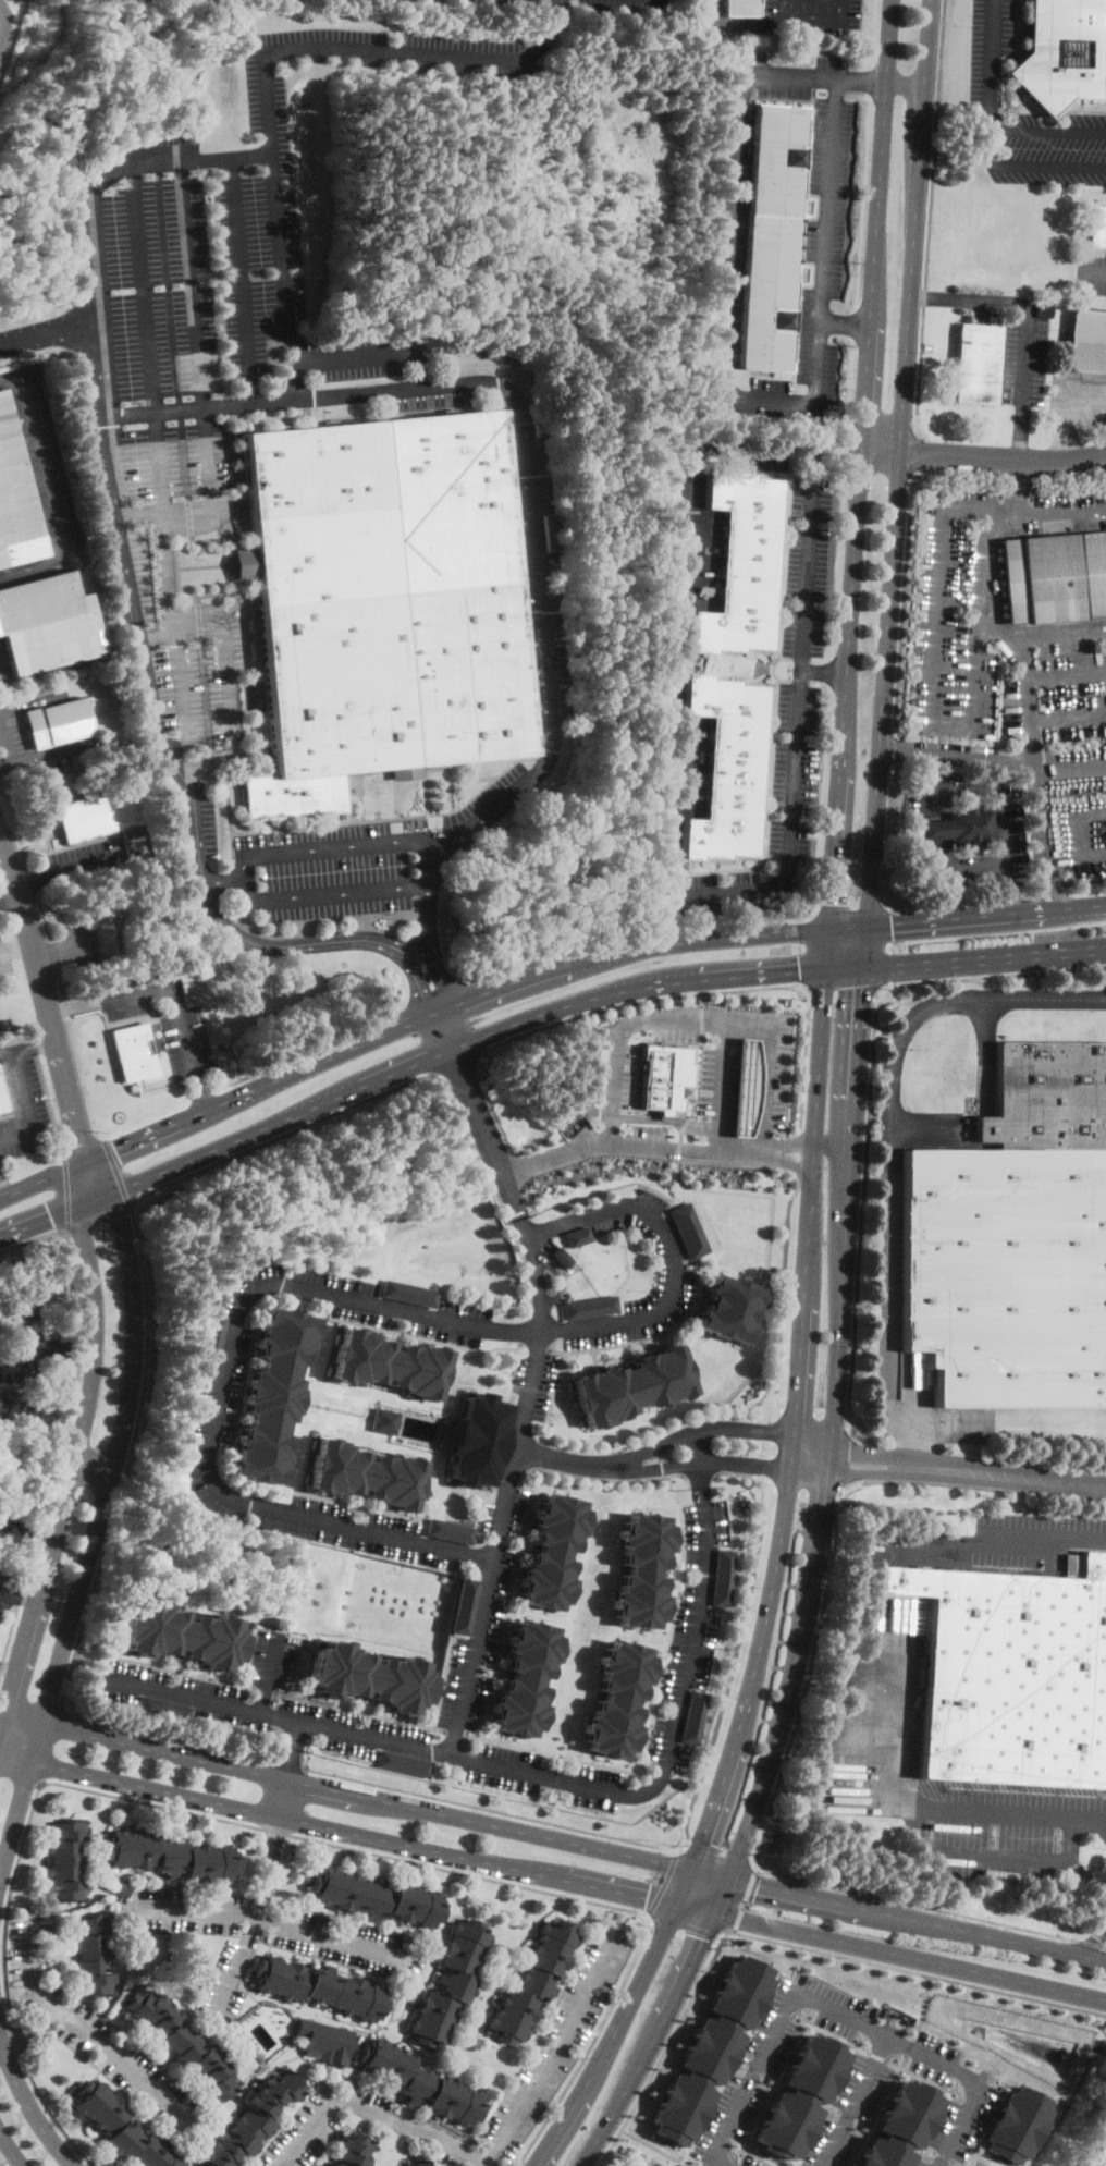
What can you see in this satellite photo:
parking lot: (516, 1)
parking lot: (634, 5)
building: (740, 9)
parking lot: (811, 16)
road: (813, 19)
road: (874, 33)
road: (1017, 35)
parking lot: (409, 49)
parking lot: (987, 50)
building: (1062, 52)
road: (454, 57)
road: (987, 62)
road: (789, 74)
parking lot: (787, 75)
road: (860, 81)
road: (870, 82)
road: (905, 84)
road: (1046, 126)
parking lot: (1045, 147)
road: (1028, 166)
road: (861, 203)
road: (927, 220)
building: (1097, 228)
road: (735, 234)
building: (771, 236)
road: (278, 252)
road: (1091, 269)
parking lot: (1091, 270)
parking lot: (816, 273)
road: (239, 277)
road: (824, 286)
road: (938, 296)
parking lot: (205, 308)
road: (846, 323)
road: (853, 326)
road: (1028, 326)
road: (49, 332)
road: (869, 335)
building: (1086, 341)
road: (194, 355)
parking lot: (1022, 359)
building: (978, 364)
road: (295, 371)
road: (356, 391)
road: (849, 392)
road: (1070, 400)
parking lot: (1074, 405)
road: (198, 407)
road: (1020, 433)
road: (1064, 446)
road: (837, 453)
road: (912, 453)
parking lot: (764, 454)
road: (880, 454)
road: (112, 455)
road: (844, 456)
road: (1003, 462)
road: (898, 463)
parking lot: (45, 464)
road: (49, 486)
road: (1017, 487)
building: (15, 499)
road: (810, 501)
parking lot: (1050, 510)
road: (1061, 513)
building: (741, 564)
road: (838, 565)
parking lot: (806, 567)
building: (1054, 577)
parking lot: (540, 580)
road: (541, 597)
road: (901, 597)
building: (383, 603)
parking lot: (956, 614)
building: (47, 624)
road: (155, 634)
road: (220, 634)
road: (1040, 634)
parking lot: (187, 649)
road: (1022, 654)
parking lot: (1, 669)
road: (823, 671)
road: (829, 674)
parking lot: (1054, 678)
road: (180, 687)
road: (678, 694)
road: (1025, 695)
road: (1, 700)
road: (28, 702)
road: (929, 703)
building: (57, 723)
road: (4, 741)
road: (890, 747)
road: (44, 751)
road: (955, 751)
building: (728, 768)
road: (999, 771)
road: (1069, 771)
road: (998, 792)
road: (1034, 793)
road: (837, 800)
road: (192, 803)
parking lot: (488, 804)
parking lot: (1078, 808)
building: (96, 813)
parking lot: (770, 818)
parking lot: (205, 822)
parking lot: (1008, 827)
building: (959, 828)
road: (931, 831)
road: (1077, 831)
road: (791, 835)
road: (885, 839)
road: (324, 843)
parking lot: (934, 856)
parking lot: (86, 859)
road: (65, 867)
parking lot: (325, 867)
road: (976, 867)
road: (819, 871)
road: (1037, 889)
road: (1054, 889)
road: (1010, 890)
road: (331, 891)
road: (10, 895)
traffic signals: (831, 902)
road: (850, 906)
road: (41, 914)
road: (984, 916)
building: (452, 919)
traffic signals: (890, 925)
road: (847, 928)
road: (664, 930)
building: (106, 931)
parking lot: (81, 943)
road: (884, 943)
road: (16, 944)
road: (862, 946)
road: (62, 947)
road: (410, 947)
road: (561, 947)
road: (52, 951)
road: (803, 952)
road: (826, 957)
road: (983, 958)
parking lot: (4, 959)
road: (437, 966)
traffic signals: (797, 972)
road: (60, 981)
road: (855, 983)
road: (815, 987)
traffic signals: (858, 988)
road: (175, 995)
road: (419, 995)
road: (438, 995)
road: (46, 996)
road: (711, 999)
road: (632, 1001)
road: (75, 1006)
road: (679, 1018)
parking lot: (169, 1019)
road: (701, 1024)
road: (404, 1026)
parking lot: (676, 1033)
road: (35, 1048)
road: (316, 1049)
building: (134, 1052)
road: (419, 1063)
road: (458, 1064)
road: (803, 1064)
road: (766, 1065)
parking lot: (781, 1070)
parking lot: (620, 1076)
building: (665, 1076)
parking lot: (711, 1082)
road: (818, 1084)
building: (746, 1086)
road: (849, 1088)
building: (1046, 1096)
road: (199, 1097)
building: (1, 1103)
road: (868, 1104)
road: (24, 1106)
parking lot: (23, 1111)
road: (478, 1112)
road: (607, 1115)
road: (685, 1124)
parking lot: (648, 1136)
road: (680, 1137)
road: (632, 1141)
traffic signals: (84, 1142)
road: (790, 1143)
road: (829, 1145)
road: (889, 1145)
road: (83, 1146)
traffic signals: (115, 1149)
road: (678, 1150)
road: (782, 1151)
road: (748, 1163)
road: (791, 1164)
road: (114, 1170)
road: (171, 1179)
building: (791, 1180)
road: (3, 1190)
road: (65, 1190)
road: (131, 1202)
road: (98, 1214)
traffic signals: (51, 1215)
traffic signals: (120, 1217)
building: (689, 1229)
road: (66, 1232)
building: (576, 1236)
building: (557, 1257)
road: (672, 1258)
parking lot: (674, 1268)
building: (1007, 1275)
building: (407, 1293)
building: (28, 1304)
road: (779, 1306)
building: (588, 1307)
building: (729, 1308)
road: (802, 1317)
road: (837, 1334)
building: (211, 1342)
road: (48, 1348)
parking lot: (34, 1349)
building: (390, 1363)
parking lot: (533, 1383)
building: (634, 1385)
road: (221, 1387)
building: (273, 1395)
parking lot: (216, 1406)
building: (23, 1414)
road: (810, 1415)
road: (66, 1418)
building: (386, 1420)
road: (742, 1432)
building: (479, 1441)
road: (771, 1447)
road: (77, 1449)
road: (693, 1449)
road: (644, 1453)
road: (811, 1455)
road: (847, 1456)
road: (561, 1459)
road: (746, 1459)
road: (871, 1460)
road: (93, 1465)
road: (519, 1465)
road: (870, 1468)
road: (648, 1470)
road: (698, 1472)
building: (366, 1473)
road: (1009, 1473)
road: (807, 1488)
road: (97, 1517)
building: (451, 1530)
building: (8, 1531)
parking lot: (373, 1531)
road: (1005, 1533)
road: (820, 1535)
parking lot: (993, 1543)
parking lot: (702, 1547)
road: (832, 1550)
building: (553, 1552)
road: (778, 1562)
building: (642, 1569)
building: (724, 1577)
parking lot: (7, 1589)
road: (17, 1594)
building: (465, 1605)
building: (180, 1633)
road: (739, 1633)
parking lot: (476, 1641)
parking lot: (269, 1659)
road: (292, 1665)
road: (9, 1667)
road: (181, 1669)
road: (267, 1671)
building: (1011, 1674)
building: (369, 1676)
building: (526, 1677)
parking lot: (681, 1678)
road: (262, 1687)
parking lot: (188, 1693)
building: (618, 1699)
building: (163, 1709)
road: (358, 1709)
parking lot: (880, 1710)
road: (481, 1712)
building: (695, 1716)
parking lot: (348, 1728)
road: (453, 1730)
road: (470, 1734)
road: (776, 1736)
road: (165, 1737)
road: (50, 1746)
road: (143, 1748)
road: (292, 1750)
road: (648, 1760)
road: (285, 1763)
building: (404, 1763)
road: (663, 1764)
parking lot: (529, 1771)
road: (686, 1772)
road: (544, 1774)
parking lot: (647, 1784)
road: (721, 1788)
road: (282, 1798)
road: (914, 1807)
road: (493, 1808)
road: (218, 1819)
road: (278, 1824)
road: (488, 1824)
parking lot: (999, 1826)
road: (334, 1828)
traffic signals: (703, 1838)
road: (709, 1853)
building: (171, 1857)
road: (744, 1857)
road: (995, 1858)
building: (66, 1860)
road: (709, 1874)
road: (661, 1883)
road: (725, 1884)
traffic signals: (758, 1885)
traffic signals: (647, 1896)
road: (742, 1897)
building: (377, 1898)
road: (915, 1904)
road: (696, 1908)
road: (242, 1916)
road: (917, 1920)
road: (684, 1923)
parking lot: (278, 1930)
traffic signals: (702, 1938)
road: (331, 1939)
road: (1091, 1944)
road: (1096, 1944)
building: (93, 1955)
road: (909, 1956)
road: (237, 1962)
road: (918, 1971)
parking lot: (229, 1980)
road: (641, 1980)
building: (532, 1983)
building: (450, 1984)
building: (319, 1987)
road: (674, 1993)
road: (919, 2007)
road: (836, 2009)
road: (29, 2028)
road: (85, 2032)
parking lot: (96, 2033)
building: (324, 2041)
building: (182, 2042)
parking lot: (558, 2043)
road: (908, 2046)
road: (589, 2047)
road: (666, 2047)
building: (711, 2049)
road: (552, 2054)
road: (876, 2056)
road: (744, 2063)
road: (733, 2067)
parking lot: (939, 2068)
road: (758, 2069)
road: (781, 2072)
road: (772, 2077)
building: (419, 2083)
building: (801, 2095)
road: (944, 2097)
road: (855, 2100)
road: (27, 2103)
road: (826, 2105)
road: (46, 2106)
parking lot: (849, 2108)
road: (876, 2109)
road: (570, 2110)
building: (253, 2120)
road: (607, 2120)
building: (1015, 2124)
parking lot: (322, 2125)
building: (899, 2125)
road: (410, 2127)
building: (121, 2128)
road: (979, 2128)
road: (305, 2131)
parking lot: (949, 2132)
road: (652, 2145)
road: (10, 2149)
road: (926, 2149)
building: (354, 2151)
road: (5, 2153)
road: (941, 2155)
building: (419, 2162)
parking lot: (751, 2162)
road: (955, 2163)
road: (1, 2164)
road: (688, 2164)
building: (319, 2165)
road: (483, 2165)
road: (1105, 2165)

